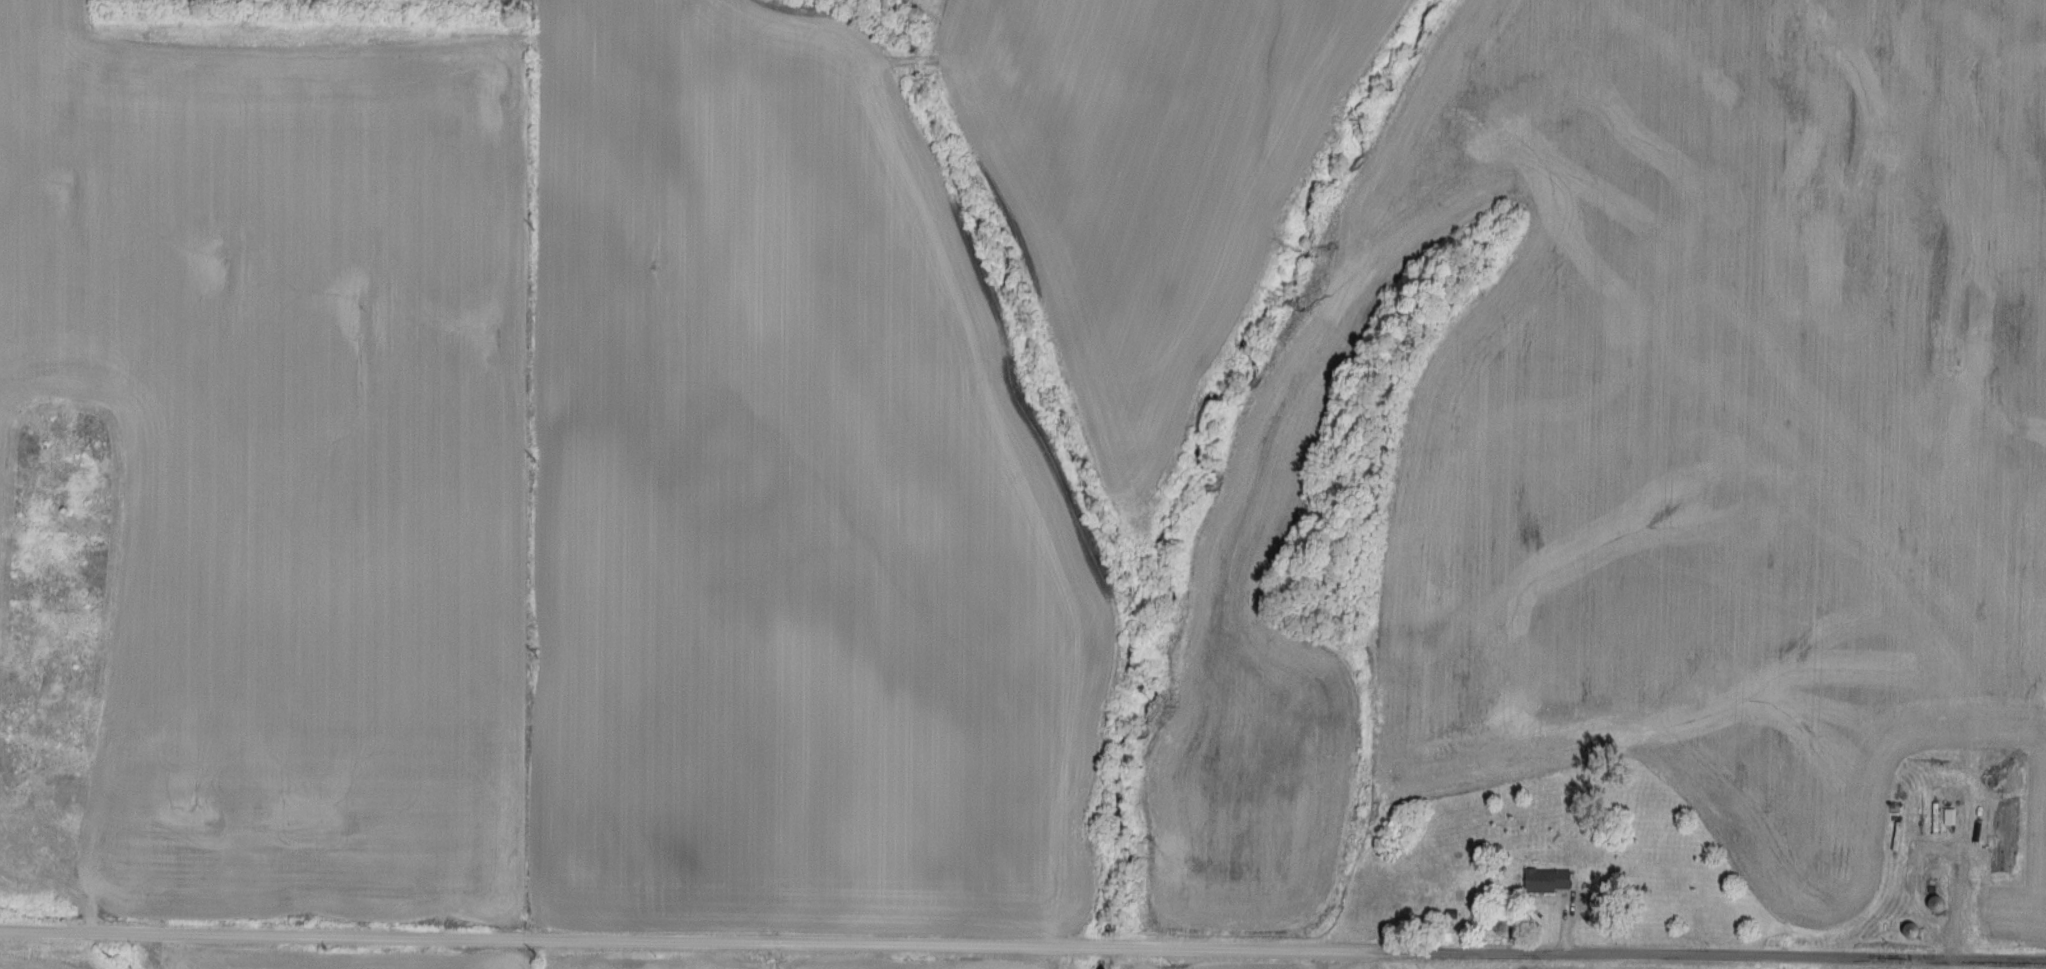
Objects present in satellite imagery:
building: (1952, 817)
building: (1549, 880)
building: (1936, 903)
building: (1453, 913)
building: (1911, 930)
road: (1023, 946)
road: (1865, 963)

